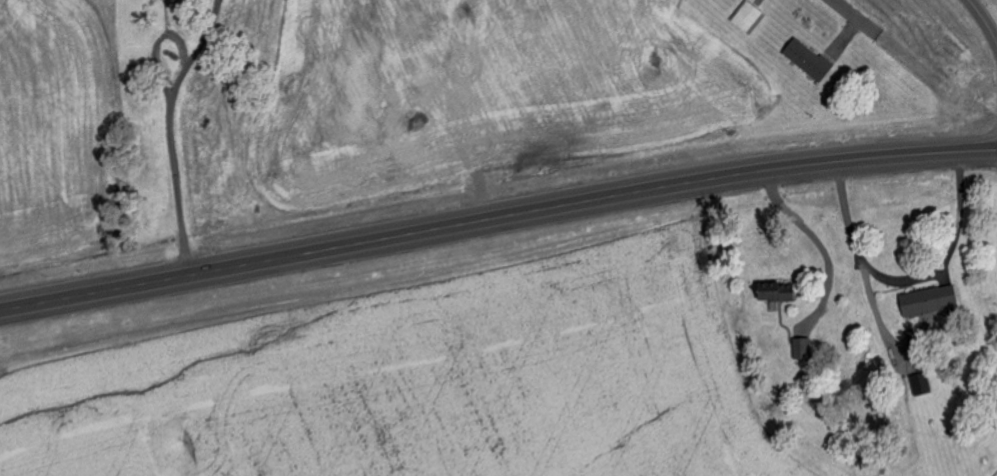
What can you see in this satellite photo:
building: (162, 0)
road: (986, 18)
building: (751, 19)
building: (810, 61)
road: (497, 209)
building: (779, 296)
building: (929, 301)
building: (804, 349)
building: (923, 384)

